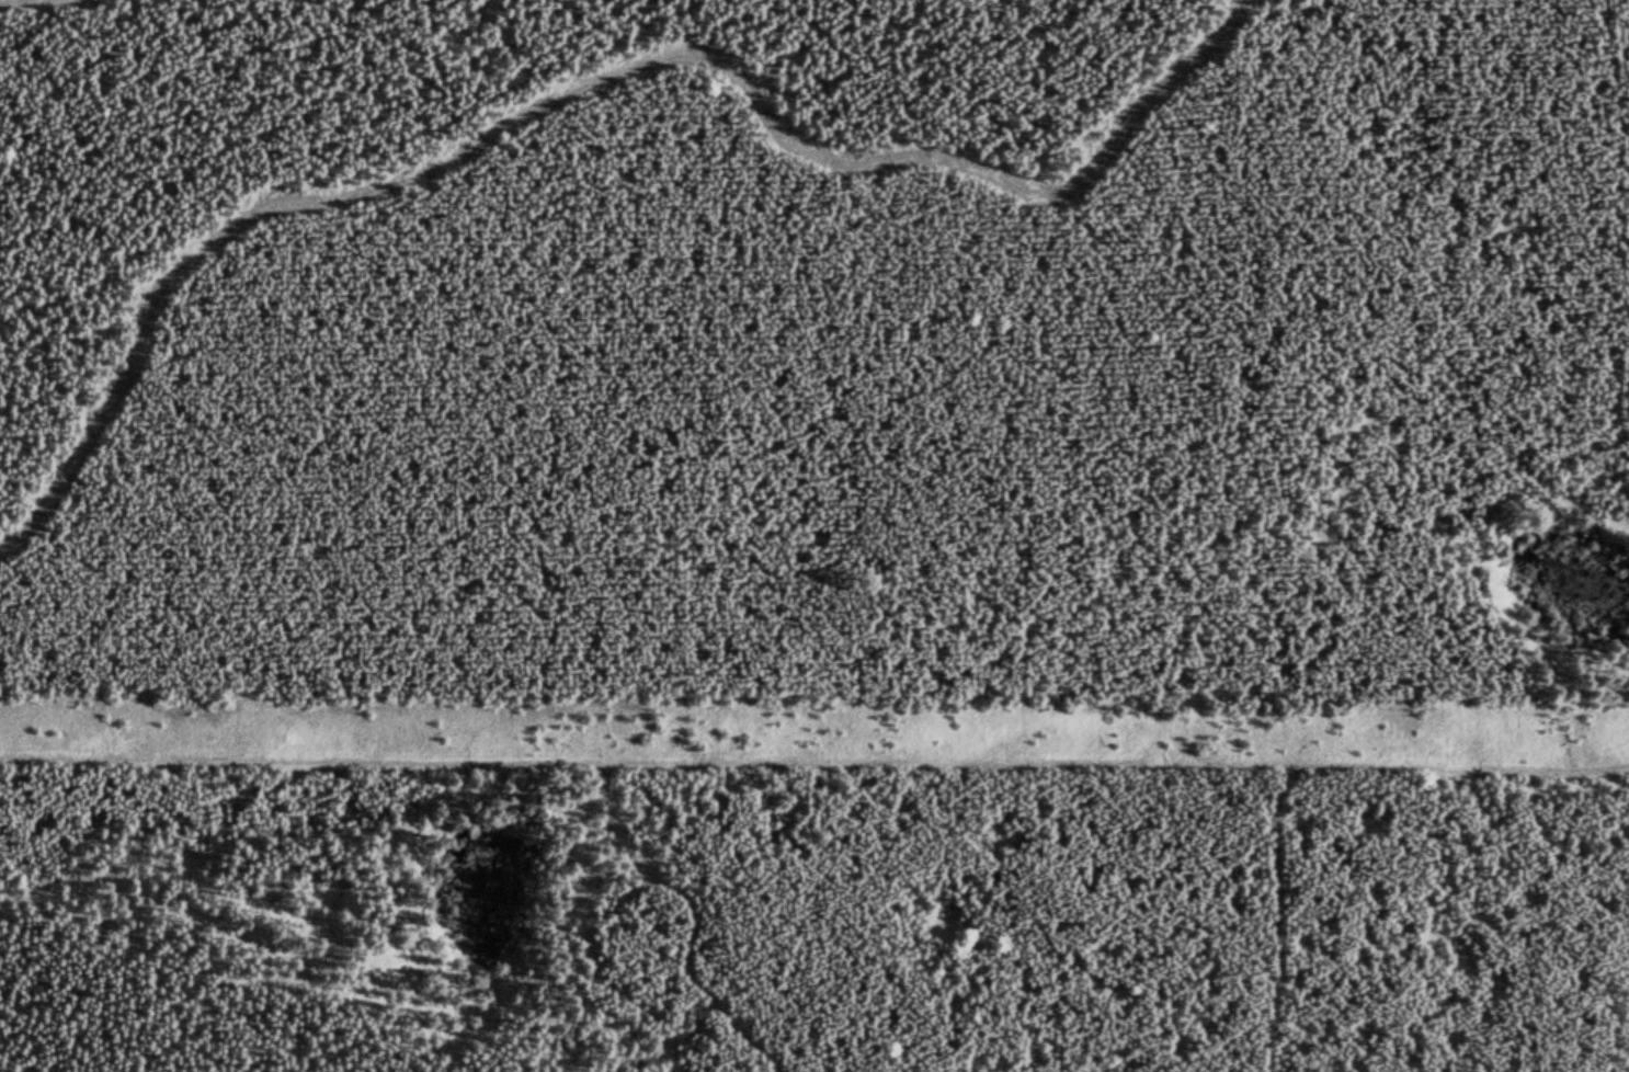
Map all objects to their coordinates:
road: (593, 82)
road: (814, 759)

